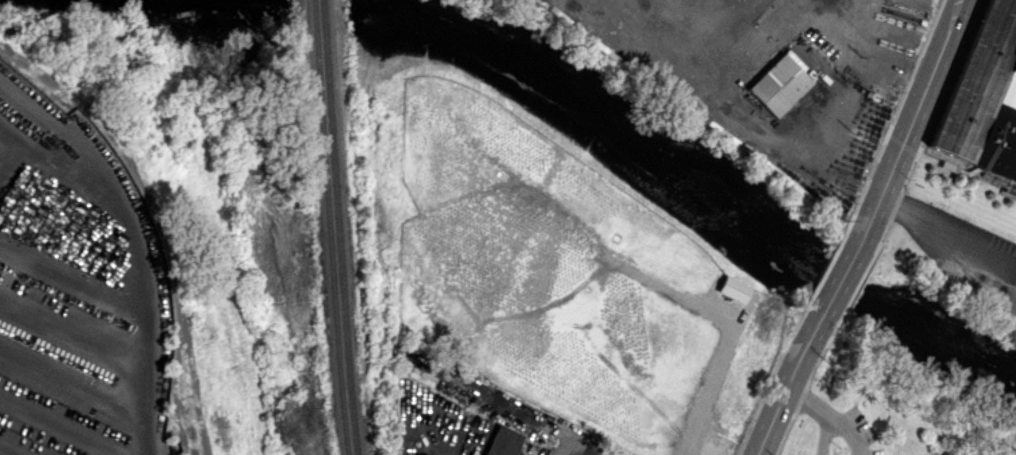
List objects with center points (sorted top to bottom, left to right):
road: (931, 73)
building: (778, 85)
building: (984, 99)
river: (685, 168)
road: (889, 173)
railway: (335, 178)
road: (867, 223)
railway: (330, 227)
railway: (665, 227)
road: (947, 231)
road: (839, 281)
building: (733, 288)
road: (134, 307)
road: (706, 379)
road: (787, 385)
railway: (352, 405)
road: (501, 406)
road: (824, 414)
road: (829, 440)
building: (503, 441)
road: (568, 447)

